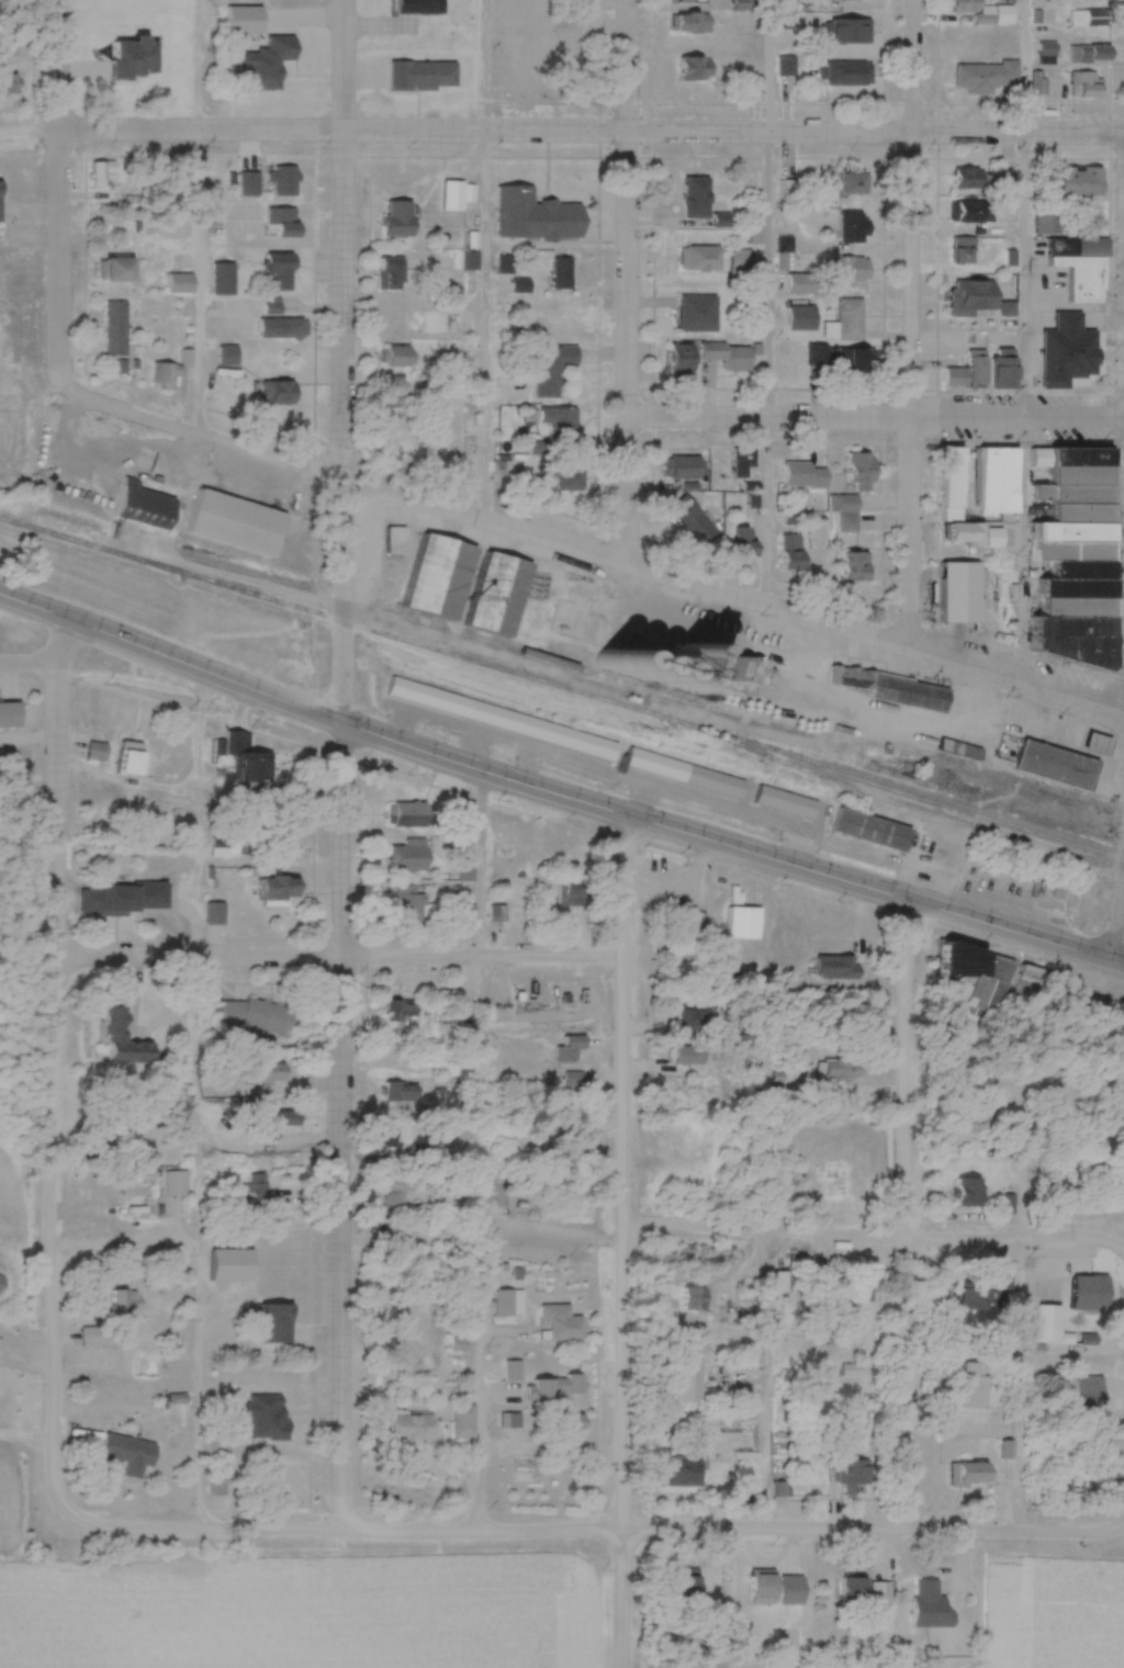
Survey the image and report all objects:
building: (689, 0)
building: (986, 12)
building: (1088, 19)
building: (685, 22)
building: (850, 32)
building: (1089, 55)
building: (694, 69)
building: (846, 75)
building: (987, 76)
building: (7, 79)
building: (1088, 86)
road: (589, 132)
road: (27, 135)
building: (103, 174)
building: (966, 179)
building: (286, 182)
building: (1078, 183)
building: (250, 184)
building: (851, 187)
building: (458, 195)
building: (695, 199)
road: (60, 210)
building: (973, 212)
road: (198, 216)
building: (535, 216)
building: (396, 219)
building: (1047, 221)
building: (284, 223)
building: (852, 229)
building: (964, 250)
building: (700, 259)
building: (745, 259)
building: (506, 267)
building: (1080, 268)
building: (114, 270)
building: (281, 270)
building: (848, 271)
building: (391, 274)
building: (224, 277)
road: (619, 281)
building: (180, 284)
building: (801, 284)
building: (521, 289)
building: (973, 297)
road: (768, 301)
building: (273, 307)
building: (698, 314)
building: (1010, 314)
building: (847, 322)
road: (912, 323)
building: (1093, 323)
road: (482, 326)
building: (291, 329)
building: (116, 330)
road: (1021, 338)
building: (229, 356)
building: (729, 356)
building: (396, 357)
road: (345, 360)
building: (681, 360)
building: (842, 360)
building: (451, 368)
building: (551, 369)
building: (1003, 370)
building: (1083, 372)
building: (969, 373)
building: (167, 376)
building: (280, 393)
road: (870, 421)
building: (558, 422)
road: (205, 433)
building: (743, 462)
building: (685, 469)
building: (504, 470)
building: (861, 472)
building: (803, 476)
building: (563, 477)
building: (998, 483)
building: (949, 484)
building: (143, 507)
building: (846, 512)
building: (239, 520)
building: (692, 523)
building: (980, 537)
building: (743, 543)
building: (791, 553)
building: (1069, 556)
building: (855, 568)
building: (437, 573)
building: (499, 590)
road: (733, 594)
building: (959, 594)
road: (37, 609)
road: (66, 642)
road: (29, 662)
building: (895, 689)
road: (417, 703)
building: (9, 715)
building: (542, 731)
road: (30, 741)
building: (959, 751)
traffic signals: (445, 753)
building: (128, 762)
building: (248, 762)
building: (1056, 767)
building: (685, 770)
road: (591, 800)
road: (484, 801)
building: (785, 801)
building: (408, 815)
building: (872, 827)
building: (408, 858)
road: (483, 865)
building: (276, 891)
building: (569, 894)
building: (106, 902)
building: (408, 905)
building: (215, 914)
building: (744, 924)
building: (695, 926)
road: (1116, 929)
road: (336, 960)
building: (839, 969)
road: (1116, 970)
building: (979, 977)
building: (1041, 988)
building: (257, 1016)
building: (402, 1016)
building: (688, 1019)
building: (126, 1041)
building: (571, 1049)
building: (687, 1056)
building: (843, 1072)
road: (53, 1073)
building: (266, 1074)
building: (402, 1093)
building: (977, 1119)
building: (280, 1125)
road: (344, 1128)
building: (386, 1136)
building: (572, 1141)
building: (175, 1185)
building: (256, 1193)
building: (967, 1194)
building: (397, 1195)
road: (902, 1219)
road: (421, 1228)
road: (615, 1236)
road: (117, 1241)
road: (872, 1242)
building: (231, 1266)
building: (782, 1283)
building: (1010, 1293)
building: (846, 1294)
building: (971, 1296)
building: (692, 1299)
building: (126, 1303)
building: (509, 1304)
building: (1048, 1323)
building: (274, 1325)
building: (559, 1325)
building: (95, 1338)
road: (23, 1357)
building: (95, 1357)
road: (479, 1366)
building: (687, 1384)
road: (765, 1386)
building: (975, 1387)
building: (557, 1389)
building: (853, 1389)
building: (1090, 1390)
building: (272, 1415)
road: (199, 1416)
building: (464, 1422)
building: (407, 1429)
building: (565, 1432)
road: (26, 1434)
building: (126, 1454)
building: (683, 1473)
building: (968, 1476)
building: (851, 1478)
building: (752, 1490)
road: (196, 1497)
road: (1116, 1531)
road: (569, 1535)
building: (687, 1588)
building: (853, 1591)
building: (883, 1597)
building: (930, 1608)
road: (622, 1665)

